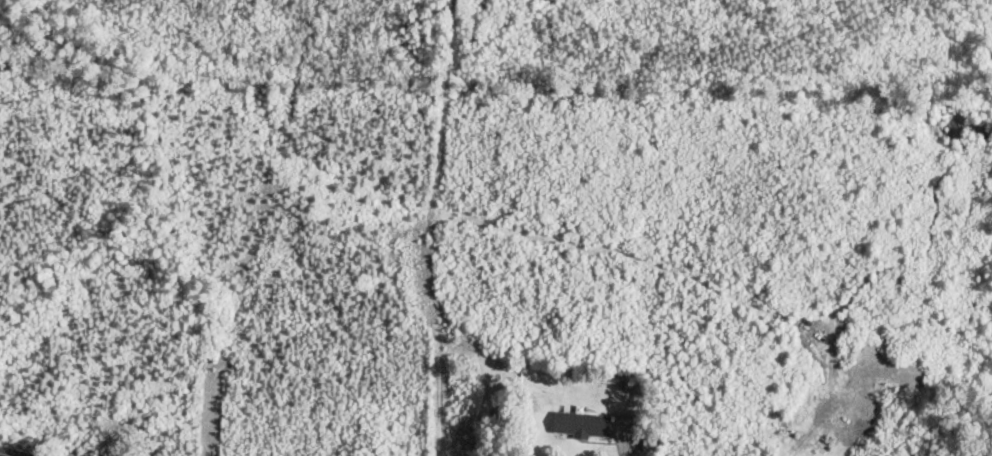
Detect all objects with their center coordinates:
building: (628, 383)
building: (583, 426)
road: (8, 454)

